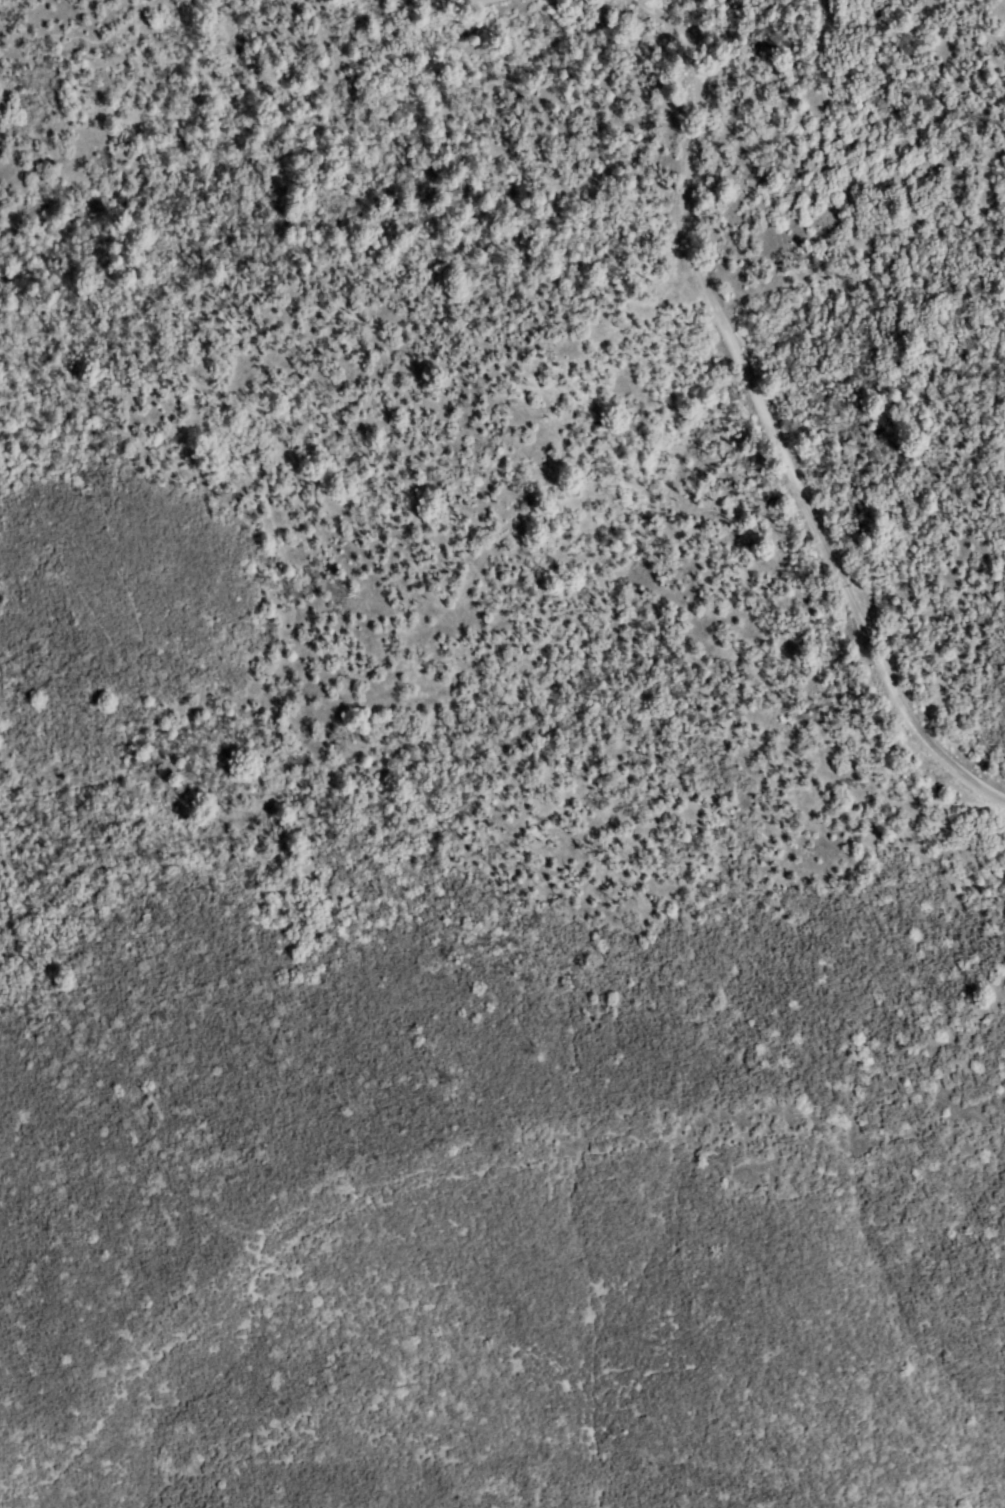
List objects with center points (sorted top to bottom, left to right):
road: (458, 0)
road: (764, 420)

